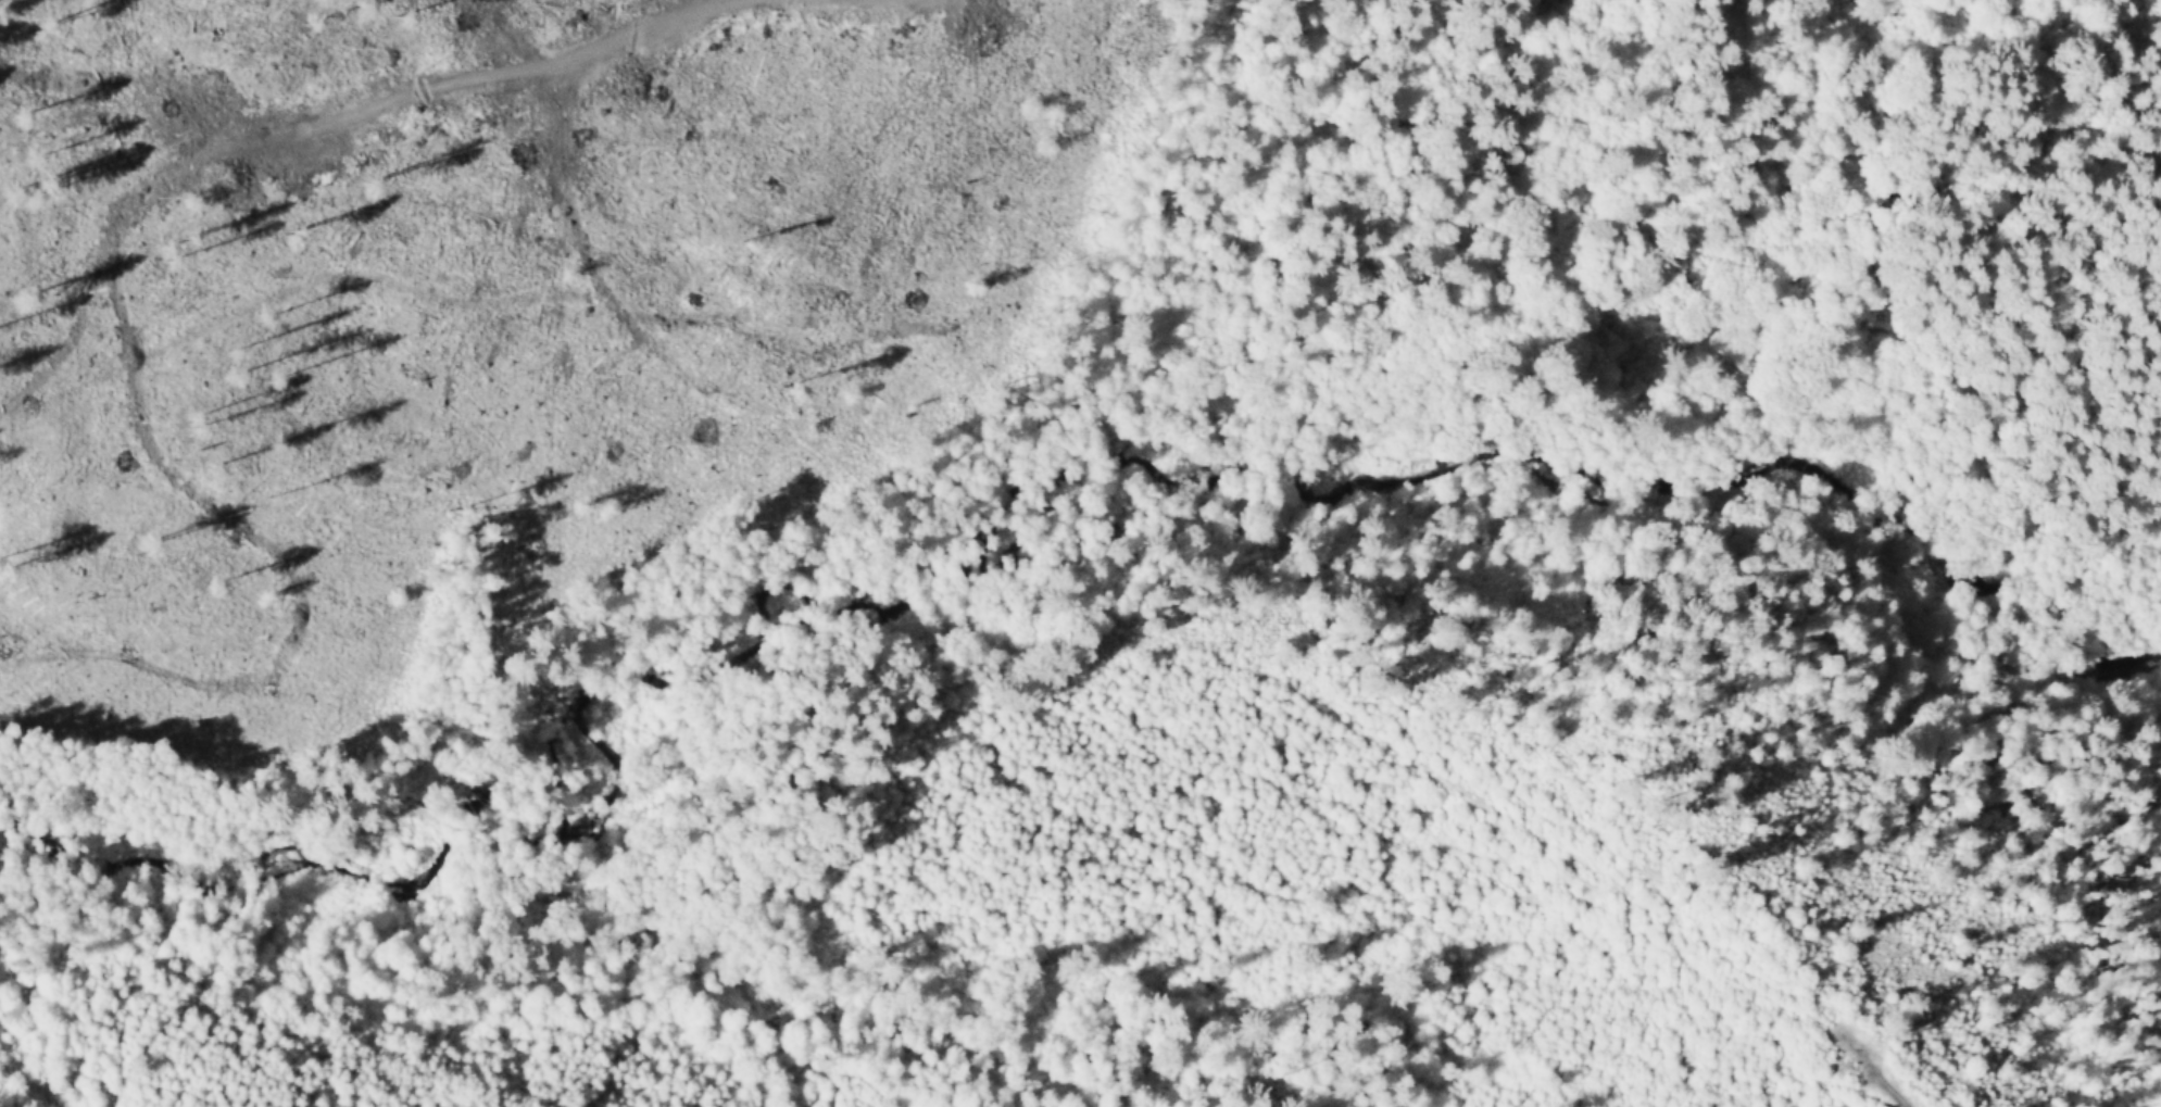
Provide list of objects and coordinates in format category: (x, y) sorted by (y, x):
road: (1856, 1062)

